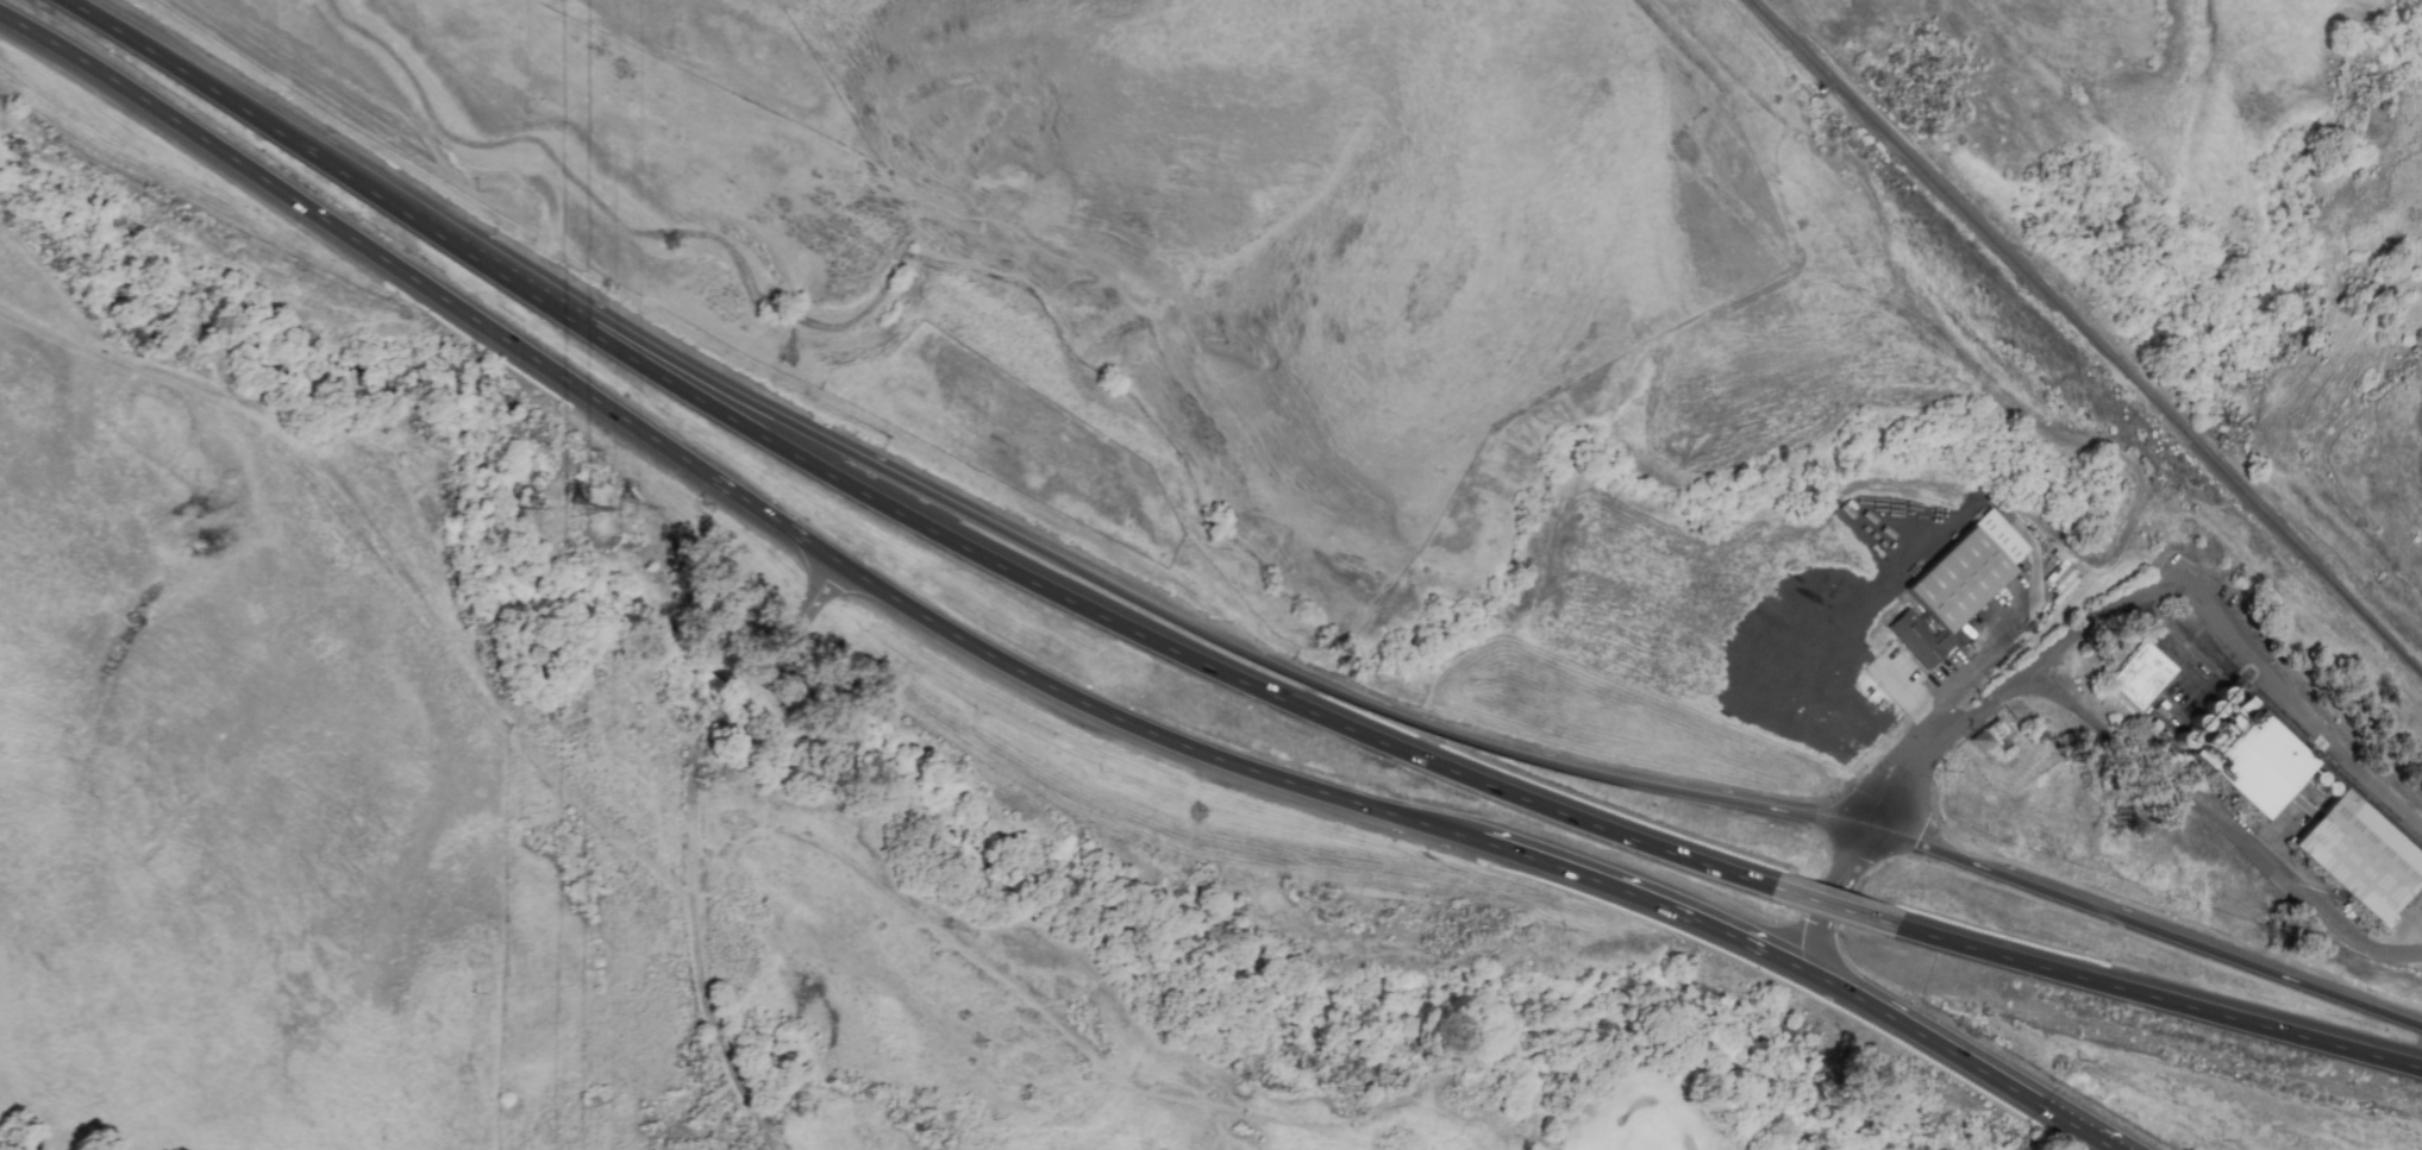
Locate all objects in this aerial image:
road: (85, 62)
road: (268, 126)
railway: (2088, 332)
road: (502, 338)
power tower: (580, 509)
power tower: (521, 511)
power tower: (633, 514)
road: (382, 564)
building: (1954, 586)
road: (1145, 604)
road: (802, 615)
road: (1100, 616)
road: (2239, 643)
road: (1991, 645)
building: (2141, 675)
road: (751, 686)
road: (1909, 689)
road: (1944, 695)
road: (1965, 722)
road: (1144, 729)
railway: (2298, 734)
building: (1986, 736)
crop: (229, 747)
building: (2252, 758)
road: (2223, 823)
building: (2359, 855)
road: (1851, 871)
road: (1644, 899)
road: (1834, 906)
road: (696, 926)
road: (2145, 926)
road: (2158, 999)
road: (1050, 1017)
road: (1927, 1039)
park: (1717, 1051)
road: (2079, 1130)

